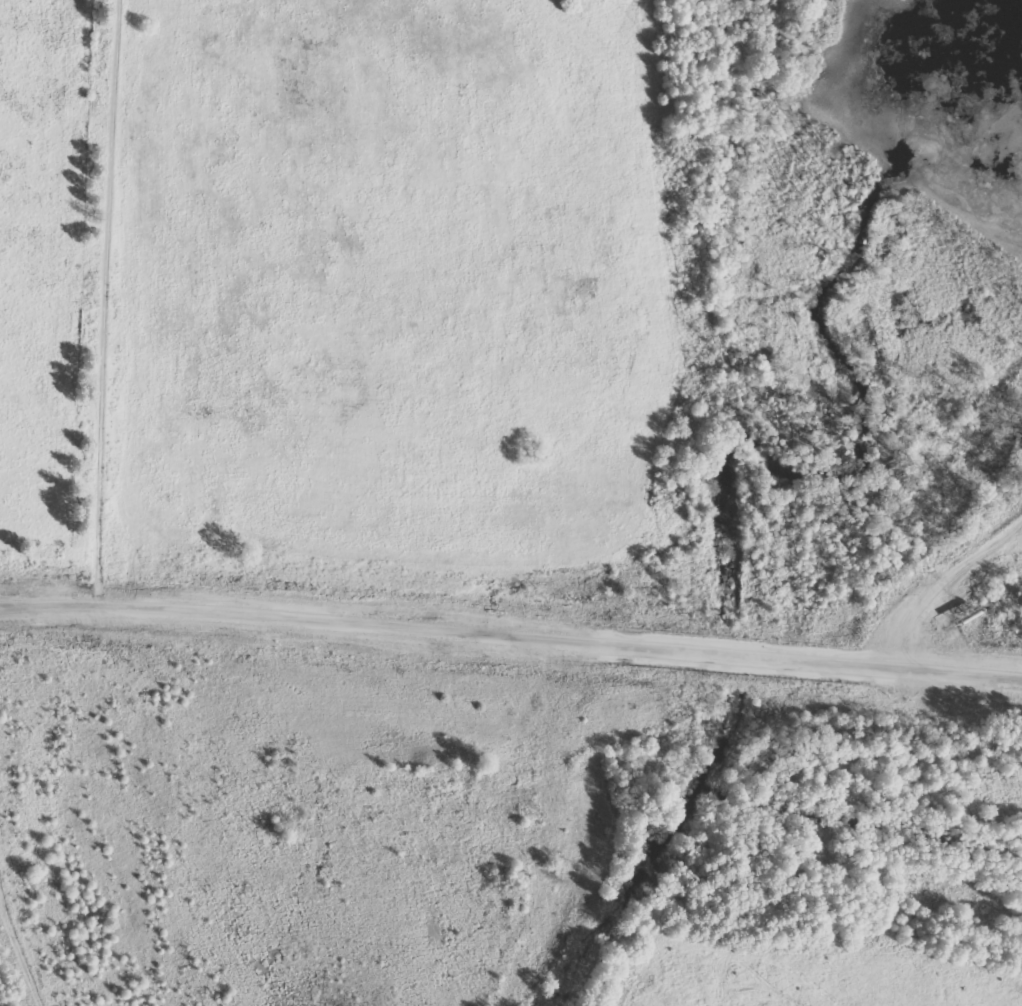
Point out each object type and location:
road: (137, 245)
road: (510, 648)
road: (18, 974)

